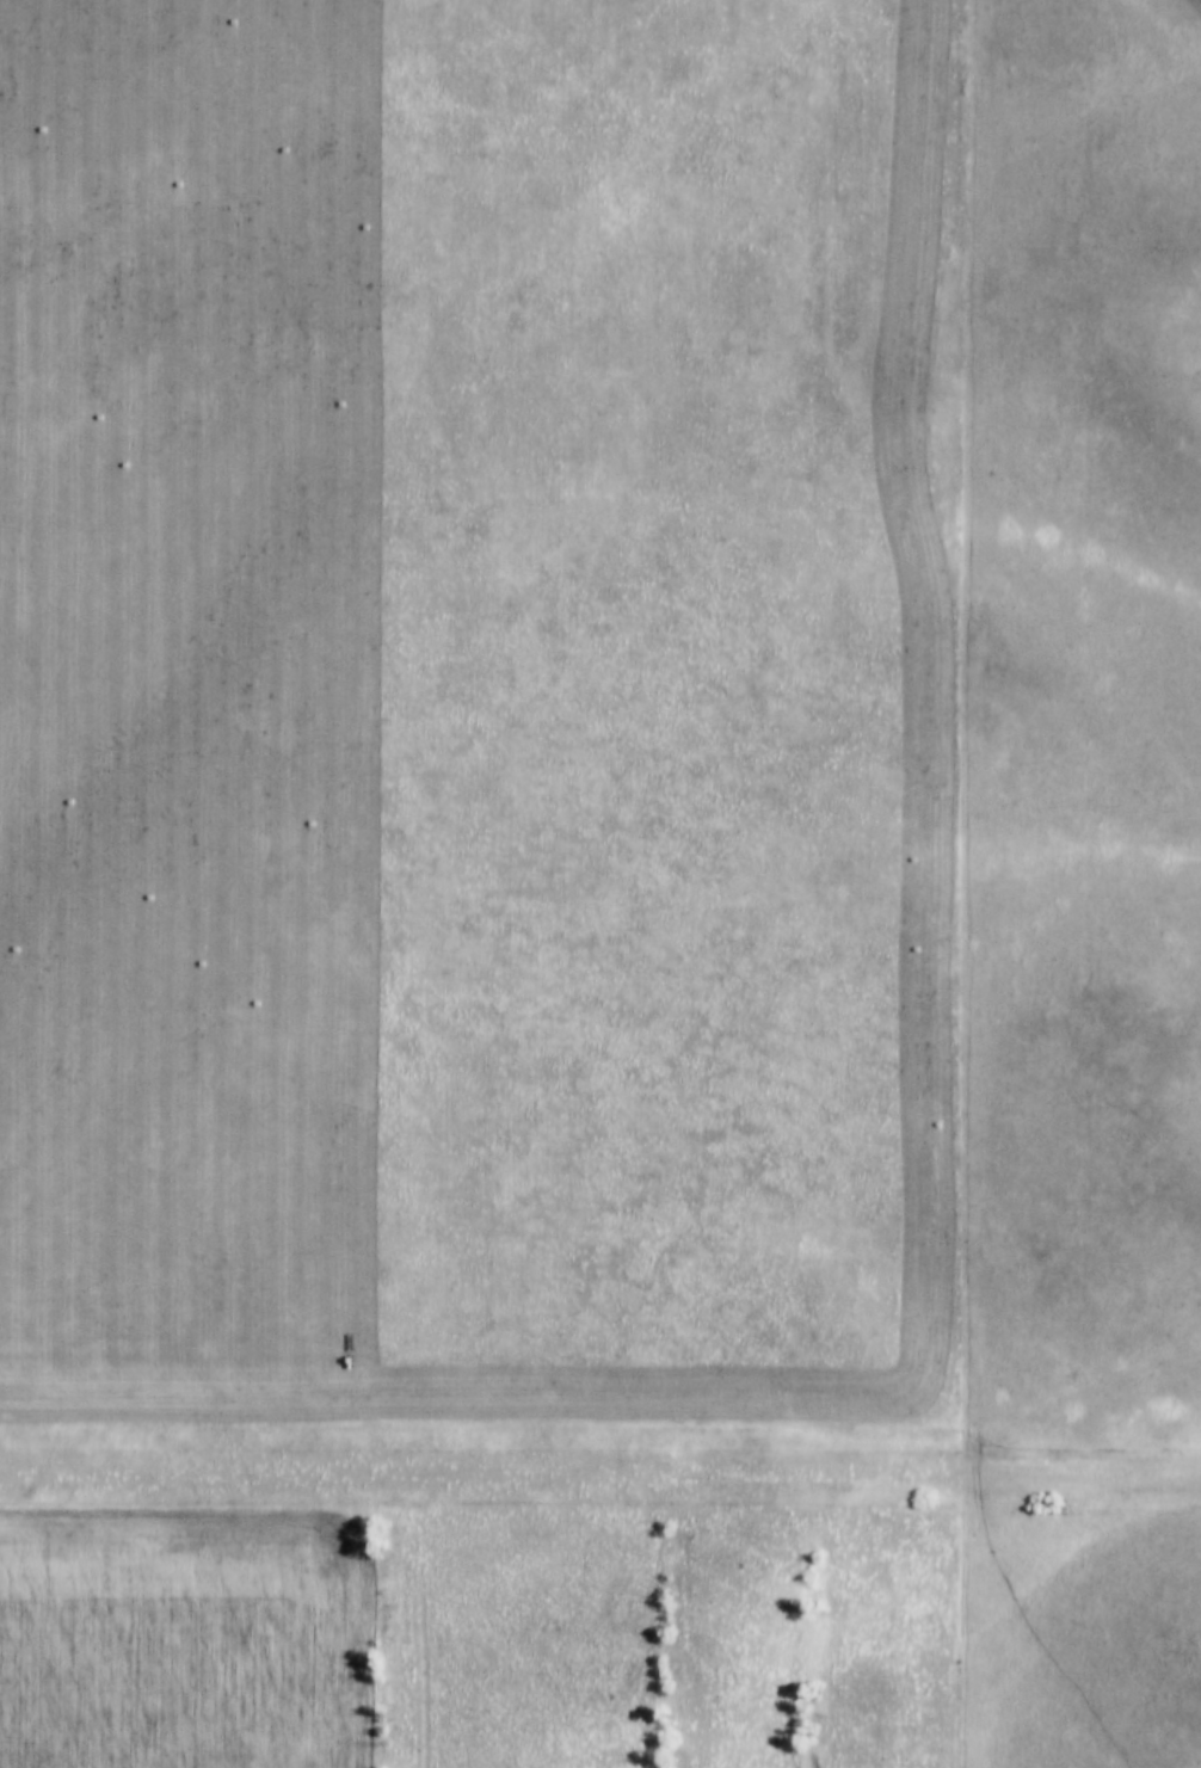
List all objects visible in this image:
road: (600, 1478)

